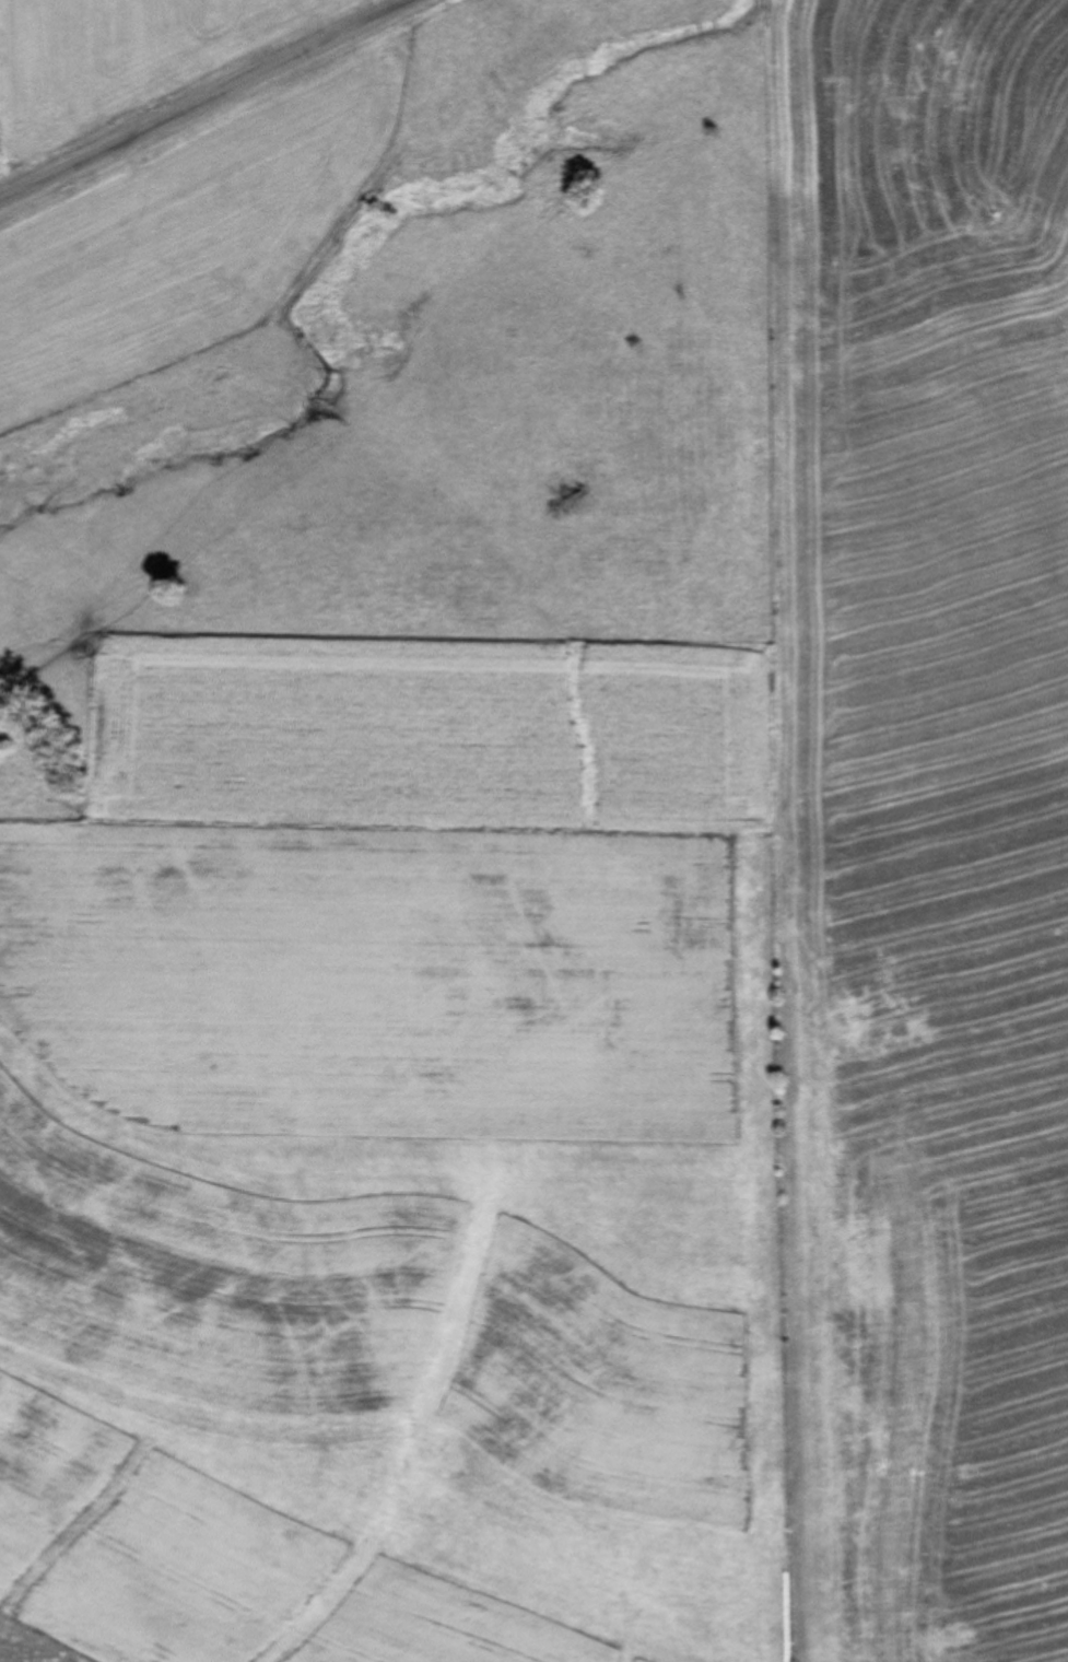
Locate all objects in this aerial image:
road: (211, 101)

